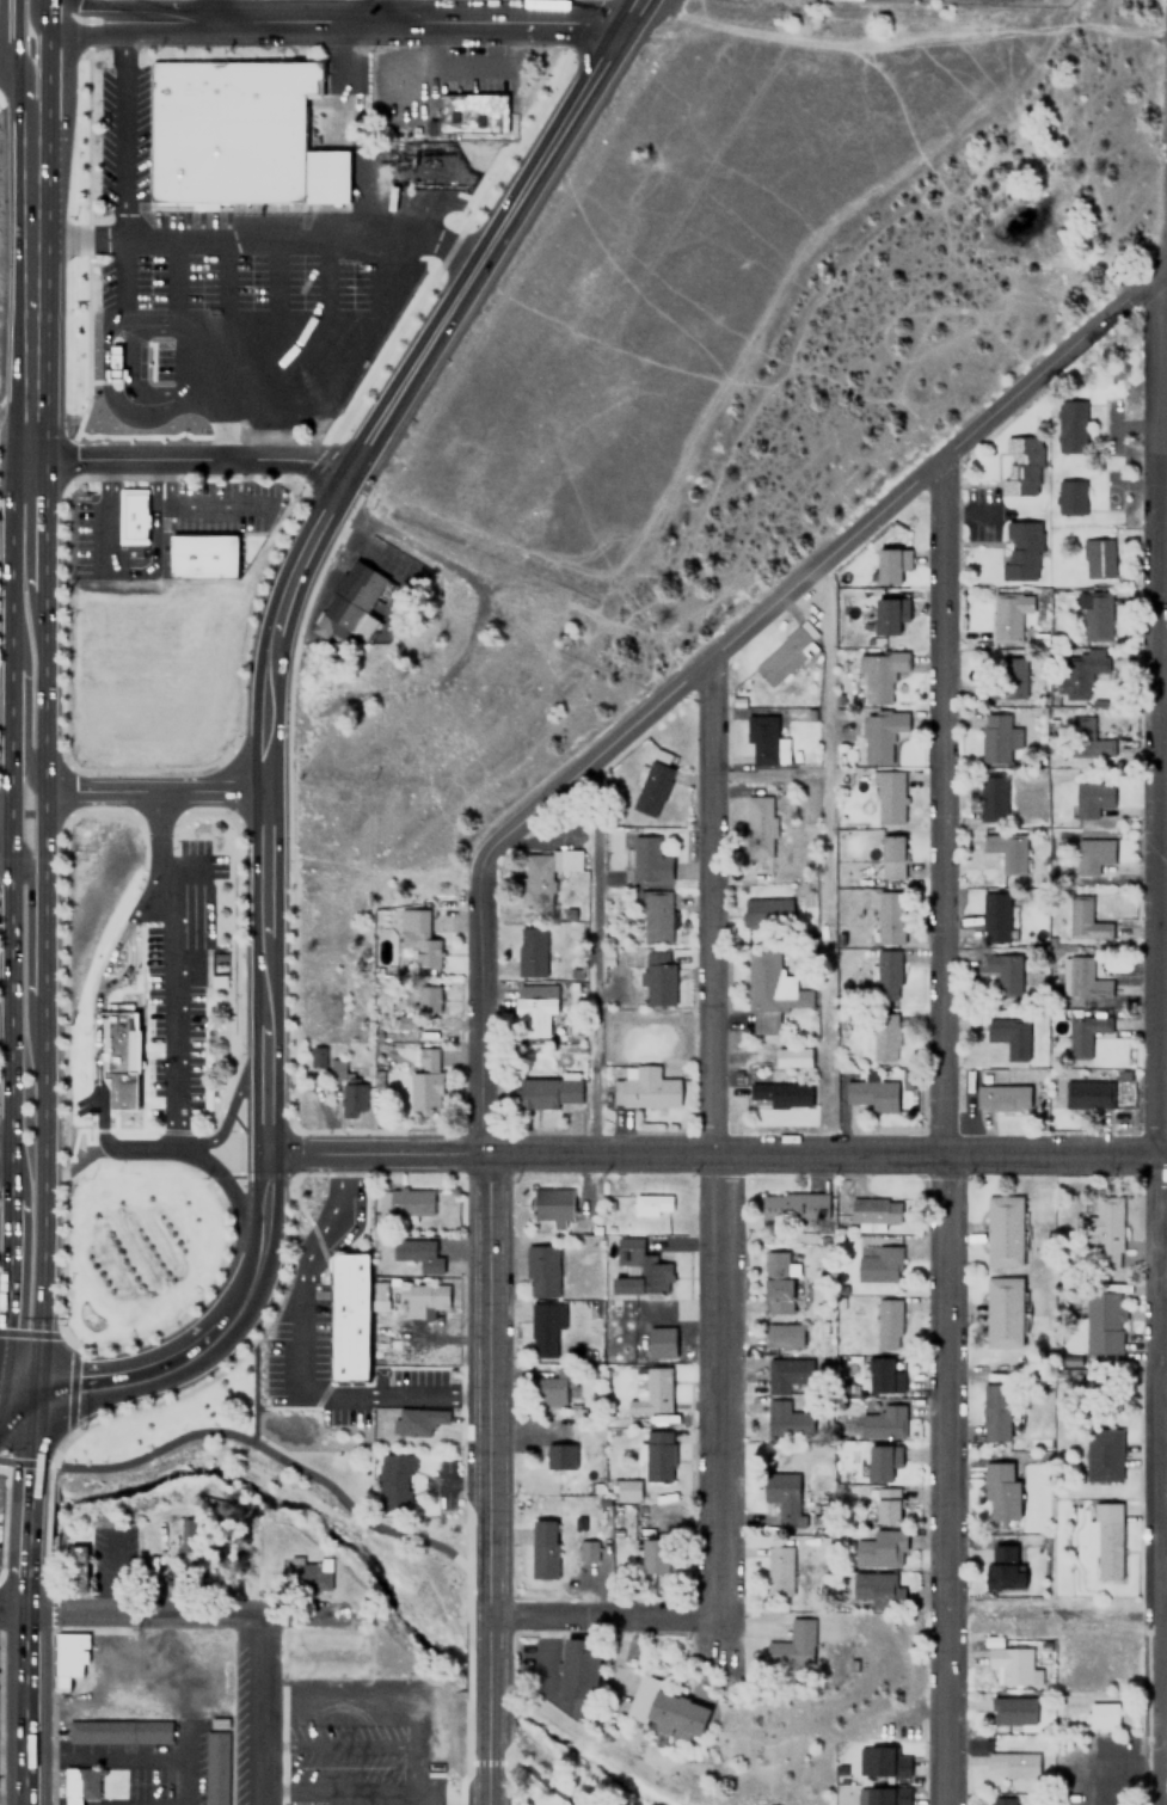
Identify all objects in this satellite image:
road: (110, 8)
road: (215, 10)
road: (383, 10)
road: (45, 17)
road: (32, 18)
road: (387, 20)
road: (14, 31)
road: (97, 33)
road: (27, 48)
road: (7, 62)
road: (45, 92)
road: (25, 93)
road: (14, 110)
building: (473, 112)
building: (237, 135)
road: (35, 172)
road: (491, 234)
road: (32, 327)
building: (1070, 426)
road: (186, 458)
building: (1020, 466)
building: (1070, 497)
building: (131, 515)
road: (42, 523)
building: (1019, 550)
building: (203, 555)
building: (1095, 557)
building: (907, 559)
road: (812, 564)
building: (886, 566)
building: (351, 602)
building: (1008, 614)
building: (1097, 615)
building: (886, 616)
road: (274, 622)
road: (7, 645)
building: (784, 651)
building: (1080, 673)
building: (877, 675)
building: (1003, 677)
road: (42, 690)
road: (1160, 696)
road: (23, 717)
building: (878, 733)
building: (994, 737)
building: (1086, 738)
building: (764, 739)
building: (652, 785)
road: (151, 791)
building: (886, 796)
building: (990, 798)
building: (1091, 798)
road: (24, 812)
building: (758, 827)
building: (312, 828)
road: (153, 837)
road: (4, 840)
building: (1005, 852)
building: (891, 855)
building: (1089, 855)
building: (647, 859)
road: (176, 871)
building: (545, 872)
building: (655, 911)
building: (767, 911)
building: (889, 916)
building: (993, 916)
building: (1081, 920)
road: (25, 933)
building: (418, 935)
building: (530, 952)
road: (123, 964)
building: (1001, 971)
building: (886, 974)
building: (658, 980)
building: (1082, 980)
building: (770, 991)
road: (263, 1003)
building: (420, 1006)
building: (532, 1008)
road: (483, 1013)
road: (7, 1020)
road: (168, 1023)
building: (1085, 1033)
building: (1011, 1035)
building: (884, 1038)
road: (92, 1039)
building: (118, 1054)
building: (318, 1057)
road: (1153, 1068)
building: (425, 1079)
road: (41, 1087)
building: (644, 1088)
building: (348, 1089)
building: (548, 1092)
building: (872, 1094)
building: (1086, 1094)
building: (779, 1095)
building: (1002, 1097)
road: (939, 1131)
road: (708, 1140)
road: (189, 1147)
road: (4, 1150)
road: (374, 1153)
road: (825, 1154)
building: (405, 1202)
building: (651, 1204)
building: (793, 1207)
building: (553, 1208)
building: (874, 1211)
building: (1003, 1230)
building: (1102, 1235)
road: (259, 1236)
building: (418, 1253)
building: (877, 1261)
building: (639, 1269)
building: (541, 1270)
road: (5, 1278)
building: (776, 1282)
building: (424, 1299)
building: (1003, 1312)
building: (349, 1316)
building: (885, 1320)
building: (1104, 1321)
building: (542, 1330)
traffic signals: (2, 1332)
building: (784, 1334)
building: (661, 1342)
road: (168, 1359)
road: (300, 1361)
building: (787, 1374)
building: (880, 1375)
road: (18, 1382)
traffic signals: (72, 1382)
building: (549, 1388)
building: (650, 1392)
building: (996, 1412)
building: (419, 1419)
building: (788, 1420)
building: (882, 1420)
road: (31, 1435)
road: (262, 1444)
building: (1105, 1454)
building: (553, 1455)
building: (658, 1455)
traffic signals: (29, 1462)
building: (880, 1462)
road: (487, 1479)
building: (394, 1480)
building: (627, 1488)
building: (1001, 1491)
building: (788, 1496)
building: (887, 1504)
road: (24, 1524)
building: (184, 1534)
building: (1106, 1537)
building: (879, 1547)
building: (542, 1548)
building: (586, 1552)
building: (657, 1554)
building: (76, 1565)
building: (1003, 1567)
building: (779, 1570)
road: (23, 1573)
building: (308, 1574)
building: (876, 1589)
road: (11, 1610)
road: (142, 1613)
road: (1045, 1613)
road: (602, 1615)
building: (793, 1644)
building: (69, 1656)
building: (1011, 1663)
building: (579, 1674)
road: (22, 1694)
building: (665, 1708)
road: (259, 1709)
building: (1012, 1709)
building: (1101, 1715)
building: (118, 1731)
building: (882, 1761)
parking lot: (358, 1763)
building: (1013, 1763)
building: (214, 1767)
park: (579, 1767)
road: (535, 1775)
road: (430, 1776)
building: (81, 1785)
building: (889, 1795)
building: (1001, 1800)

